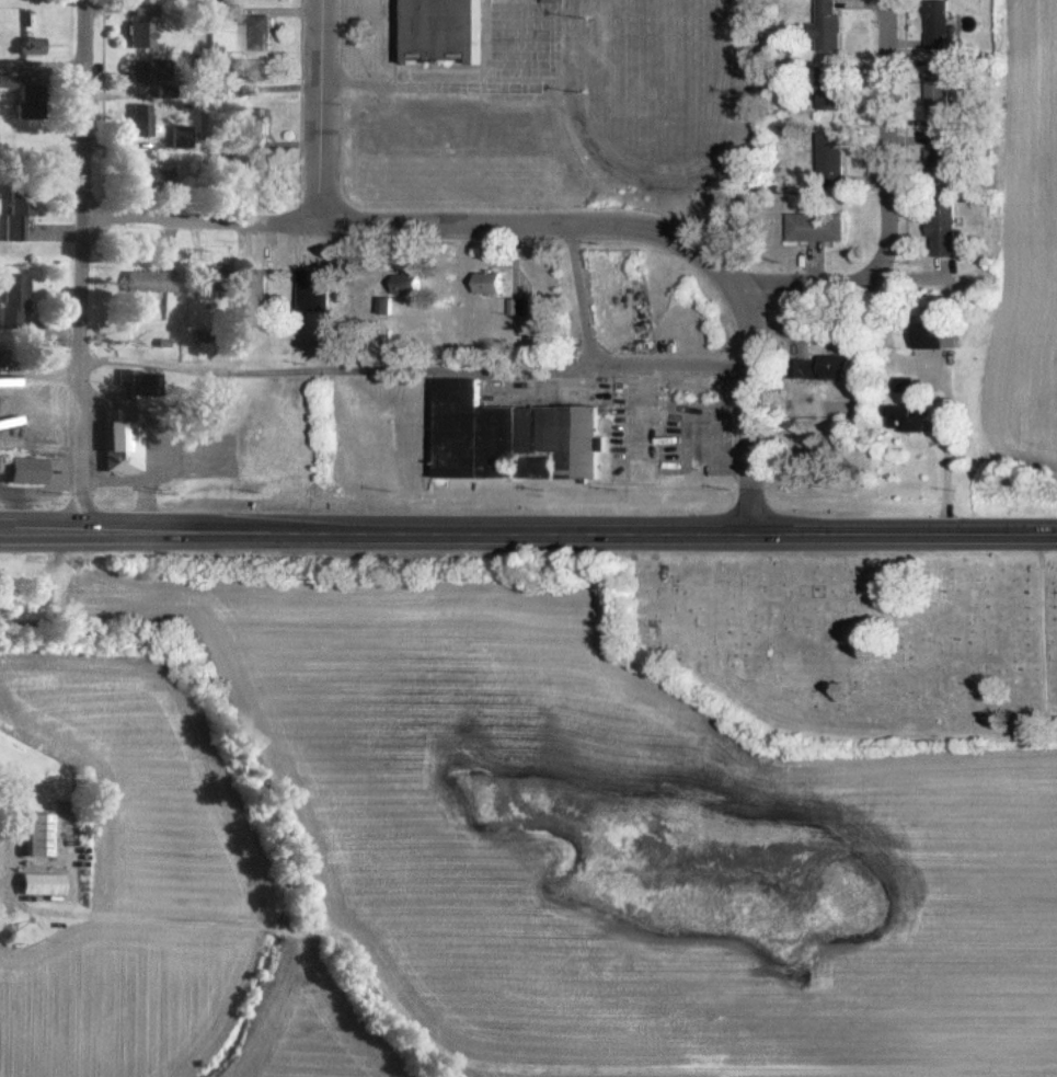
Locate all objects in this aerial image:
building: (553, 0)
building: (138, 10)
building: (834, 25)
building: (947, 25)
building: (253, 26)
building: (444, 28)
building: (135, 33)
road: (390, 42)
building: (22, 44)
building: (260, 69)
building: (141, 71)
road: (460, 85)
building: (835, 87)
building: (945, 91)
track: (765, 93)
building: (21, 99)
road: (195, 110)
road: (325, 110)
building: (134, 118)
building: (258, 127)
building: (174, 136)
building: (949, 154)
building: (837, 158)
building: (143, 174)
building: (10, 208)
road: (897, 208)
road: (418, 220)
building: (950, 225)
building: (820, 226)
road: (76, 264)
building: (140, 278)
building: (493, 279)
building: (412, 282)
building: (204, 286)
building: (255, 287)
building: (319, 288)
building: (8, 298)
road: (591, 299)
building: (528, 303)
building: (937, 333)
building: (829, 365)
road: (415, 379)
building: (139, 380)
road: (757, 405)
building: (916, 408)
building: (516, 435)
building: (115, 445)
road: (960, 462)
building: (19, 468)
road: (528, 530)
park: (860, 642)
road: (978, 741)
building: (27, 833)
building: (32, 882)

